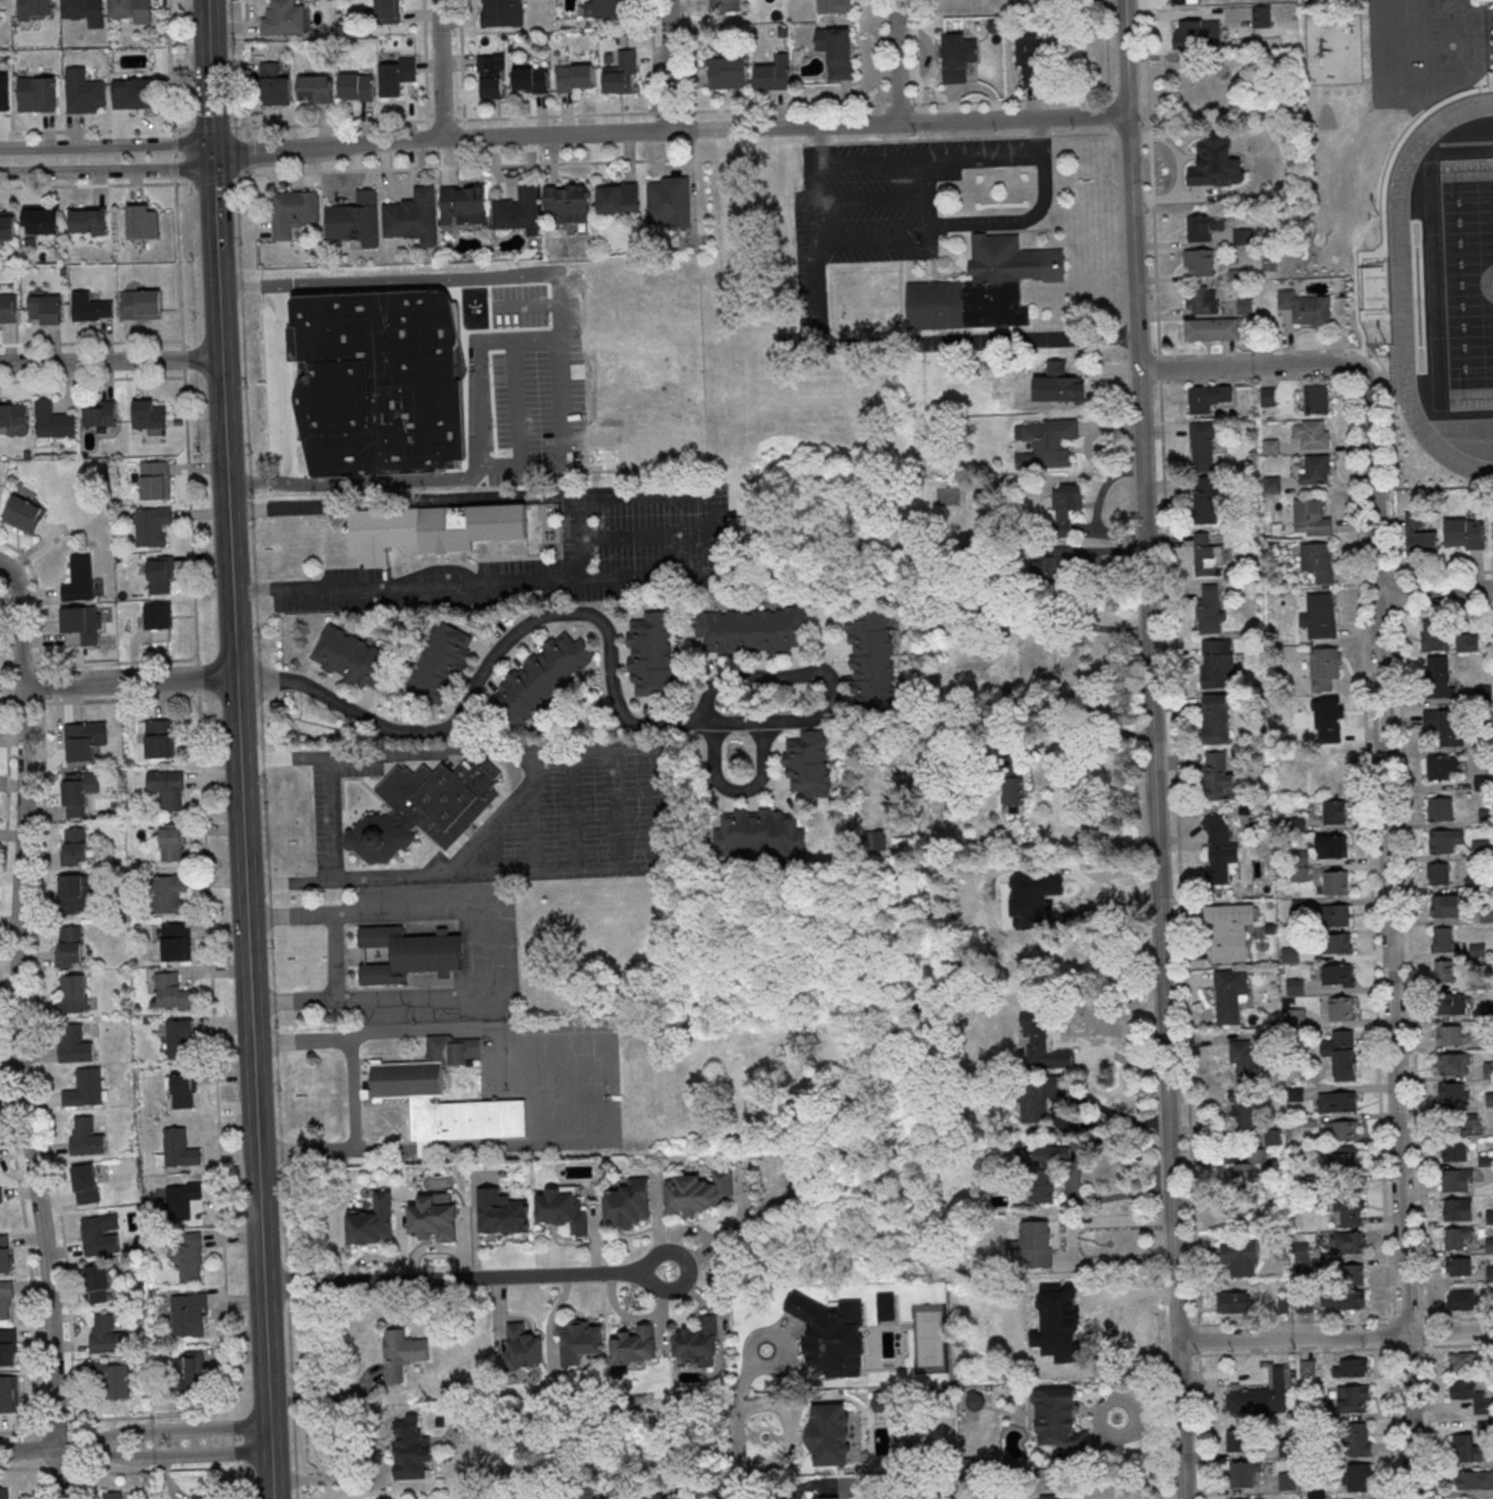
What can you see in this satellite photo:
building: (1482, 0)
building: (1185, 1)
building: (724, 5)
building: (833, 6)
building: (600, 9)
building: (35, 10)
building: (132, 10)
building: (85, 11)
building: (386, 12)
building: (500, 13)
building: (1261, 15)
building: (284, 19)
building: (1197, 34)
road: (1425, 43)
building: (836, 50)
road: (1107, 51)
road: (878, 54)
road: (914, 54)
road: (688, 55)
building: (1028, 55)
road: (651, 56)
building: (956, 56)
road: (896, 61)
road: (425, 64)
road: (669, 65)
road: (461, 68)
road: (441, 69)
road: (243, 70)
building: (727, 72)
building: (621, 75)
building: (395, 76)
building: (771, 76)
building: (489, 77)
road: (210, 78)
building: (575, 78)
building: (529, 80)
building: (273, 86)
road: (1426, 86)
building: (354, 87)
building: (313, 89)
building: (84, 91)
building: (133, 93)
building: (37, 94)
road: (1121, 95)
building: (3, 98)
road: (1012, 99)
road: (899, 103)
road: (785, 107)
road: (671, 111)
road: (1108, 114)
road: (557, 115)
road: (442, 119)
road: (916, 119)
road: (881, 121)
road: (330, 123)
road: (209, 128)
road: (1107, 129)
road: (94, 130)
road: (663, 131)
road: (173, 132)
road: (1133, 132)
road: (1083, 133)
road: (427, 134)
road: (917, 134)
road: (1039, 134)
road: (882, 137)
road: (927, 138)
road: (803, 142)
road: (817, 142)
road: (173, 144)
road: (100, 146)
road: (249, 154)
traffic signals: (213, 156)
road: (173, 157)
road: (932, 159)
building: (1215, 161)
road: (464, 166)
road: (101, 170)
road: (174, 170)
road: (1150, 178)
road: (212, 180)
road: (94, 185)
parking lot: (889, 196)
building: (618, 198)
building: (670, 201)
building: (567, 203)
building: (462, 205)
building: (294, 211)
building: (519, 211)
building: (413, 217)
road: (254, 218)
building: (355, 219)
building: (40, 221)
building: (87, 222)
building: (142, 222)
road: (1015, 224)
building: (7, 225)
building: (1203, 226)
building: (1242, 236)
road: (912, 238)
road: (216, 257)
building: (1201, 261)
road: (178, 262)
park: (1460, 281)
building: (984, 287)
track: (1402, 295)
building: (1202, 300)
building: (141, 305)
building: (1244, 305)
building: (89, 307)
building: (1305, 307)
building: (8, 308)
building: (45, 308)
building: (1211, 328)
road: (91, 342)
road: (882, 343)
building: (790, 345)
road: (182, 358)
road: (1377, 360)
road: (110, 361)
road: (1249, 366)
road: (1158, 367)
road: (1351, 368)
building: (419, 371)
road: (1361, 374)
road: (551, 376)
road: (1258, 377)
road: (508, 378)
road: (92, 380)
road: (470, 380)
building: (1060, 385)
building: (1207, 397)
building: (1316, 398)
building: (99, 413)
building: (13, 414)
building: (148, 416)
building: (53, 422)
building: (1311, 433)
road: (224, 434)
building: (1045, 442)
building: (1203, 445)
building: (1270, 446)
building: (1316, 469)
building: (154, 480)
building: (1272, 483)
building: (1205, 498)
road: (404, 503)
building: (1065, 507)
building: (23, 515)
road: (190, 516)
building: (1312, 517)
parking lot: (645, 522)
building: (737, 525)
building: (151, 526)
building: (432, 529)
building: (1464, 533)
building: (1419, 535)
building: (1207, 554)
building: (1318, 560)
building: (1057, 565)
road: (2, 566)
road: (1444, 572)
building: (160, 575)
building: (78, 579)
road: (447, 584)
road: (1396, 592)
road: (1434, 593)
building: (1209, 608)
road: (1445, 608)
building: (1320, 616)
building: (158, 623)
building: (80, 626)
building: (752, 629)
building: (1434, 635)
building: (1467, 641)
road: (608, 652)
building: (650, 654)
building: (871, 656)
building: (353, 657)
building: (1216, 661)
building: (439, 665)
building: (1324, 667)
building: (1032, 671)
building: (1438, 675)
building: (541, 677)
road: (197, 678)
road: (127, 681)
building: (1217, 719)
building: (1326, 719)
building: (1444, 725)
road: (1084, 731)
building: (160, 739)
building: (84, 741)
road: (1152, 749)
building: (808, 762)
building: (1443, 767)
building: (1218, 777)
building: (167, 789)
road: (737, 790)
building: (79, 791)
building: (1013, 794)
building: (424, 809)
road: (658, 810)
building: (1441, 810)
building: (1335, 812)
parking lot: (578, 817)
road: (331, 818)
building: (1298, 824)
building: (759, 832)
building: (878, 839)
building: (1445, 840)
building: (175, 842)
building: (1332, 845)
building: (73, 846)
road: (1370, 846)
building: (1219, 850)
road: (1178, 851)
building: (1300, 857)
building: (1438, 873)
building: (1300, 875)
building: (1332, 882)
building: (1009, 890)
building: (169, 894)
building: (72, 895)
building: (1446, 906)
building: (1301, 907)
building: (1486, 913)
building: (1335, 914)
building: (1230, 930)
road: (1389, 932)
building: (1449, 938)
building: (176, 942)
building: (1337, 942)
building: (69, 946)
road: (473, 950)
building: (409, 955)
building: (1291, 955)
road: (335, 956)
road: (1410, 960)
building: (1443, 970)
building: (1336, 974)
building: (1296, 987)
building: (170, 993)
building: (1230, 993)
building: (73, 994)
building: (1450, 1003)
road: (251, 1004)
building: (1342, 1009)
building: (1488, 1011)
building: (1297, 1017)
building: (1038, 1026)
road: (500, 1027)
road: (18, 1032)
building: (1453, 1034)
building: (180, 1039)
building: (1489, 1041)
building: (74, 1045)
building: (1343, 1055)
building: (1050, 1056)
building: (1246, 1062)
building: (1451, 1064)
building: (1488, 1070)
building: (84, 1088)
building: (181, 1091)
building: (403, 1093)
road: (354, 1094)
building: (1453, 1094)
building: (1041, 1097)
building: (1337, 1100)
building: (1489, 1100)
road: (1082, 1101)
building: (1242, 1110)
building: (1469, 1120)
building: (1342, 1129)
road: (218, 1131)
building: (85, 1137)
road: (426, 1147)
building: (179, 1149)
road: (339, 1150)
building: (1453, 1151)
building: (1348, 1156)
building: (1044, 1166)
building: (1247, 1171)
road: (1075, 1173)
building: (1456, 1180)
building: (84, 1184)
building: (1036, 1188)
building: (698, 1194)
building: (0, 1196)
building: (182, 1199)
building: (628, 1204)
building: (1349, 1206)
building: (561, 1210)
building: (1458, 1210)
building: (502, 1213)
building: (1490, 1217)
building: (433, 1218)
road: (1102, 1221)
building: (373, 1223)
building: (98, 1238)
building: (1460, 1238)
building: (1346, 1242)
building: (1489, 1245)
building: (1032, 1247)
building: (4, 1255)
building: (189, 1256)
building: (1240, 1256)
road: (1114, 1263)
building: (1457, 1265)
road: (521, 1273)
building: (1354, 1274)
building: (1490, 1274)
building: (98, 1283)
building: (1461, 1298)
building: (1342, 1300)
building: (6, 1301)
building: (1235, 1302)
building: (1035, 1313)
building: (189, 1314)
road: (1456, 1314)
road: (1406, 1316)
road: (1425, 1318)
road: (1293, 1320)
road: (1186, 1325)
road: (1198, 1327)
road: (1425, 1331)
road: (1389, 1332)
building: (106, 1335)
road: (1334, 1335)
road: (1198, 1340)
building: (578, 1341)
building: (697, 1341)
building: (824, 1345)
road: (1457, 1345)
building: (634, 1346)
road: (1408, 1346)
building: (523, 1347)
building: (7, 1348)
road: (1294, 1351)
building: (402, 1354)
road: (1185, 1355)
building: (1462, 1361)
building: (1351, 1367)
building: (1308, 1368)
building: (190, 1373)
building: (112, 1378)
building: (9, 1393)
building: (1261, 1393)
building: (1470, 1394)
road: (332, 1398)
building: (1353, 1398)
building: (975, 1400)
road: (212, 1415)
building: (1058, 1418)
road: (1392, 1420)
road: (1429, 1420)
road: (1202, 1424)
road: (56, 1425)
road: (212, 1426)
road: (161, 1429)
road: (23, 1431)
building: (832, 1434)
building: (1357, 1439)
road: (213, 1440)
building: (1239, 1440)
building: (1466, 1448)
road: (28, 1450)
building: (413, 1450)
road: (214, 1452)
road: (734, 1453)
road: (163, 1456)
road: (215, 1464)
road: (23, 1467)
road: (161, 1469)
road: (57, 1470)
building: (1244, 1472)
building: (1356, 1477)
building: (1286, 1480)
building: (1472, 1480)
building: (4, 1493)
building: (1315, 1494)
building: (112, 1495)
building: (653, 1496)
building: (200, 1497)
building: (826, 1497)
building: (1048, 1497)
building: (474, 1498)

